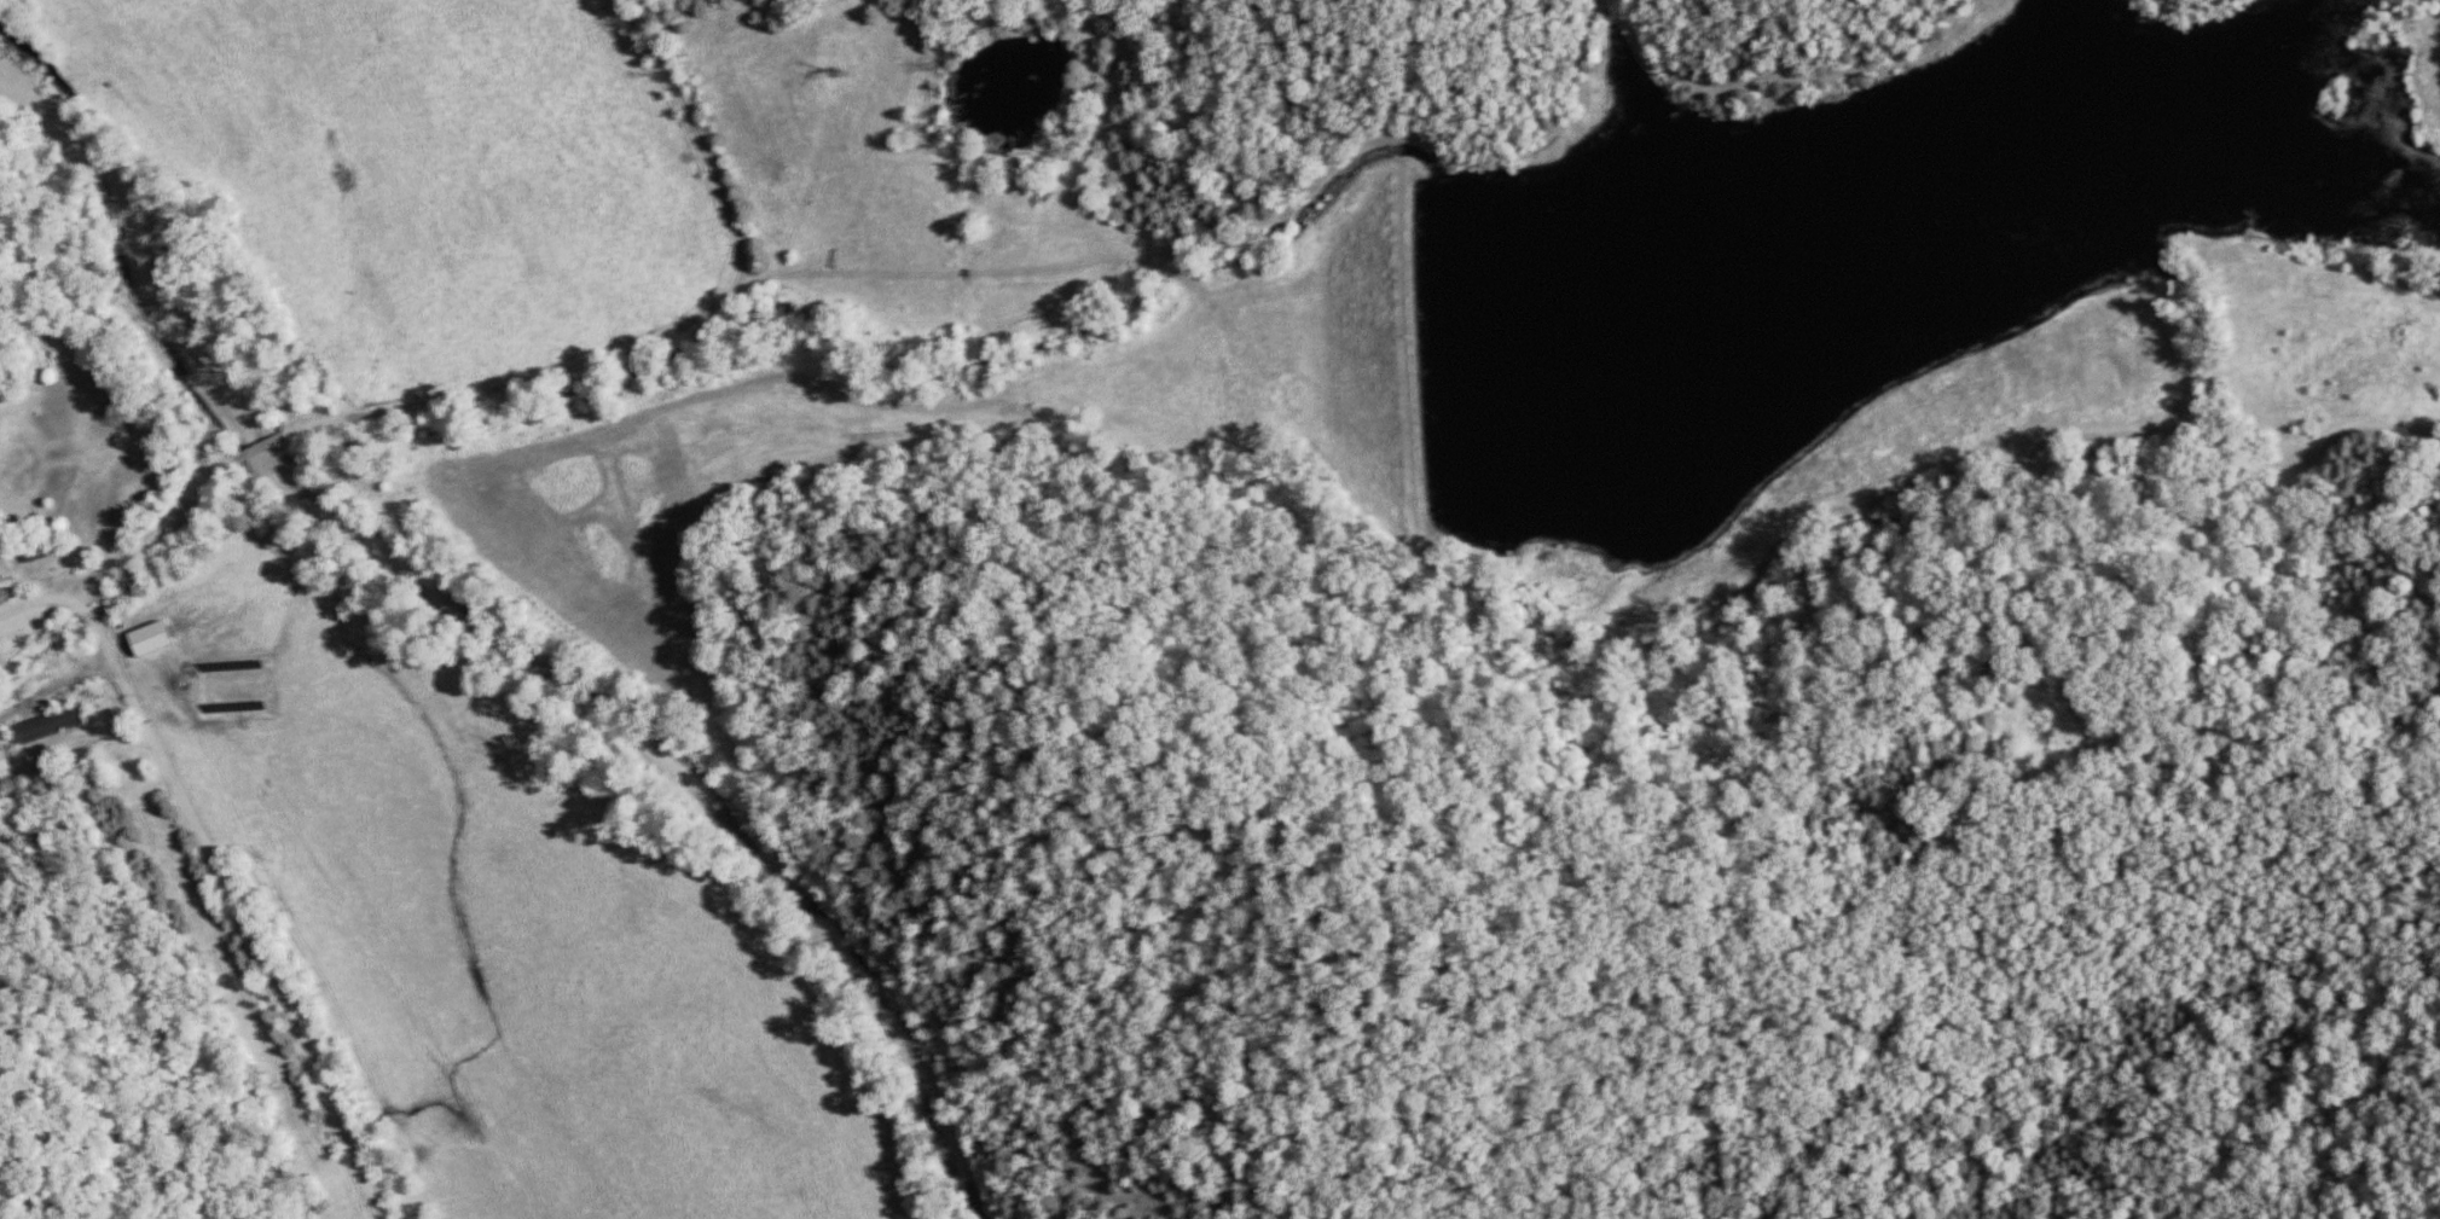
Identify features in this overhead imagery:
road: (659, 344)
dam: (1422, 349)
road: (168, 522)
road: (37, 606)
building: (153, 640)
river: (524, 648)
building: (48, 727)
building: (4, 761)
road: (243, 898)

